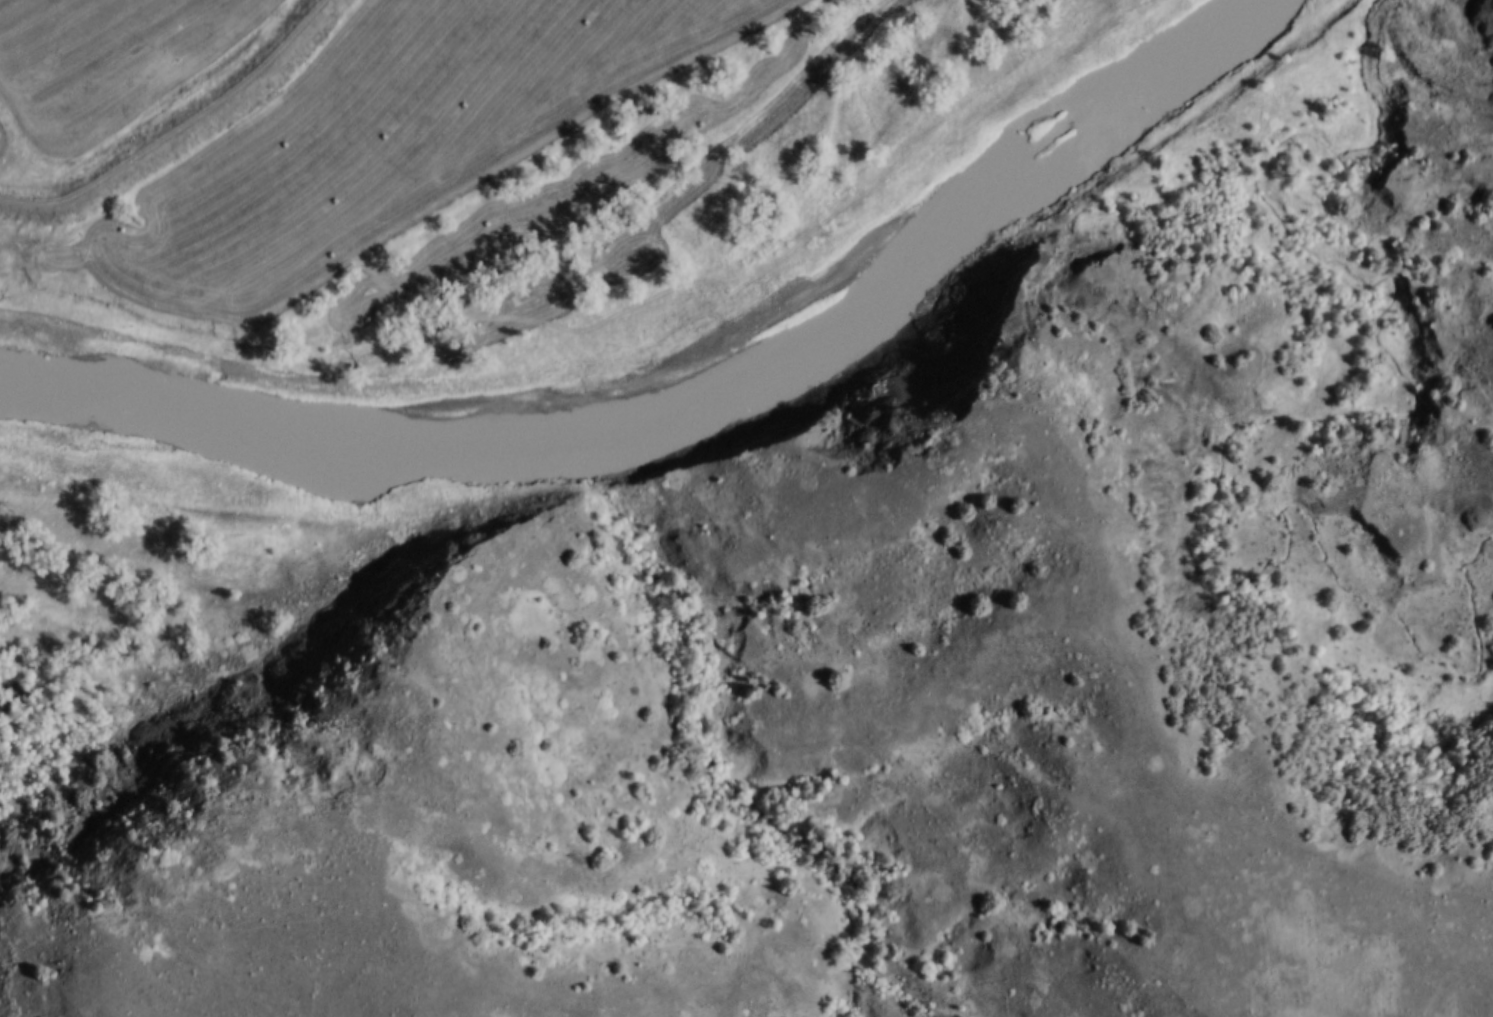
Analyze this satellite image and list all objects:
road: (174, 128)
river: (690, 394)

